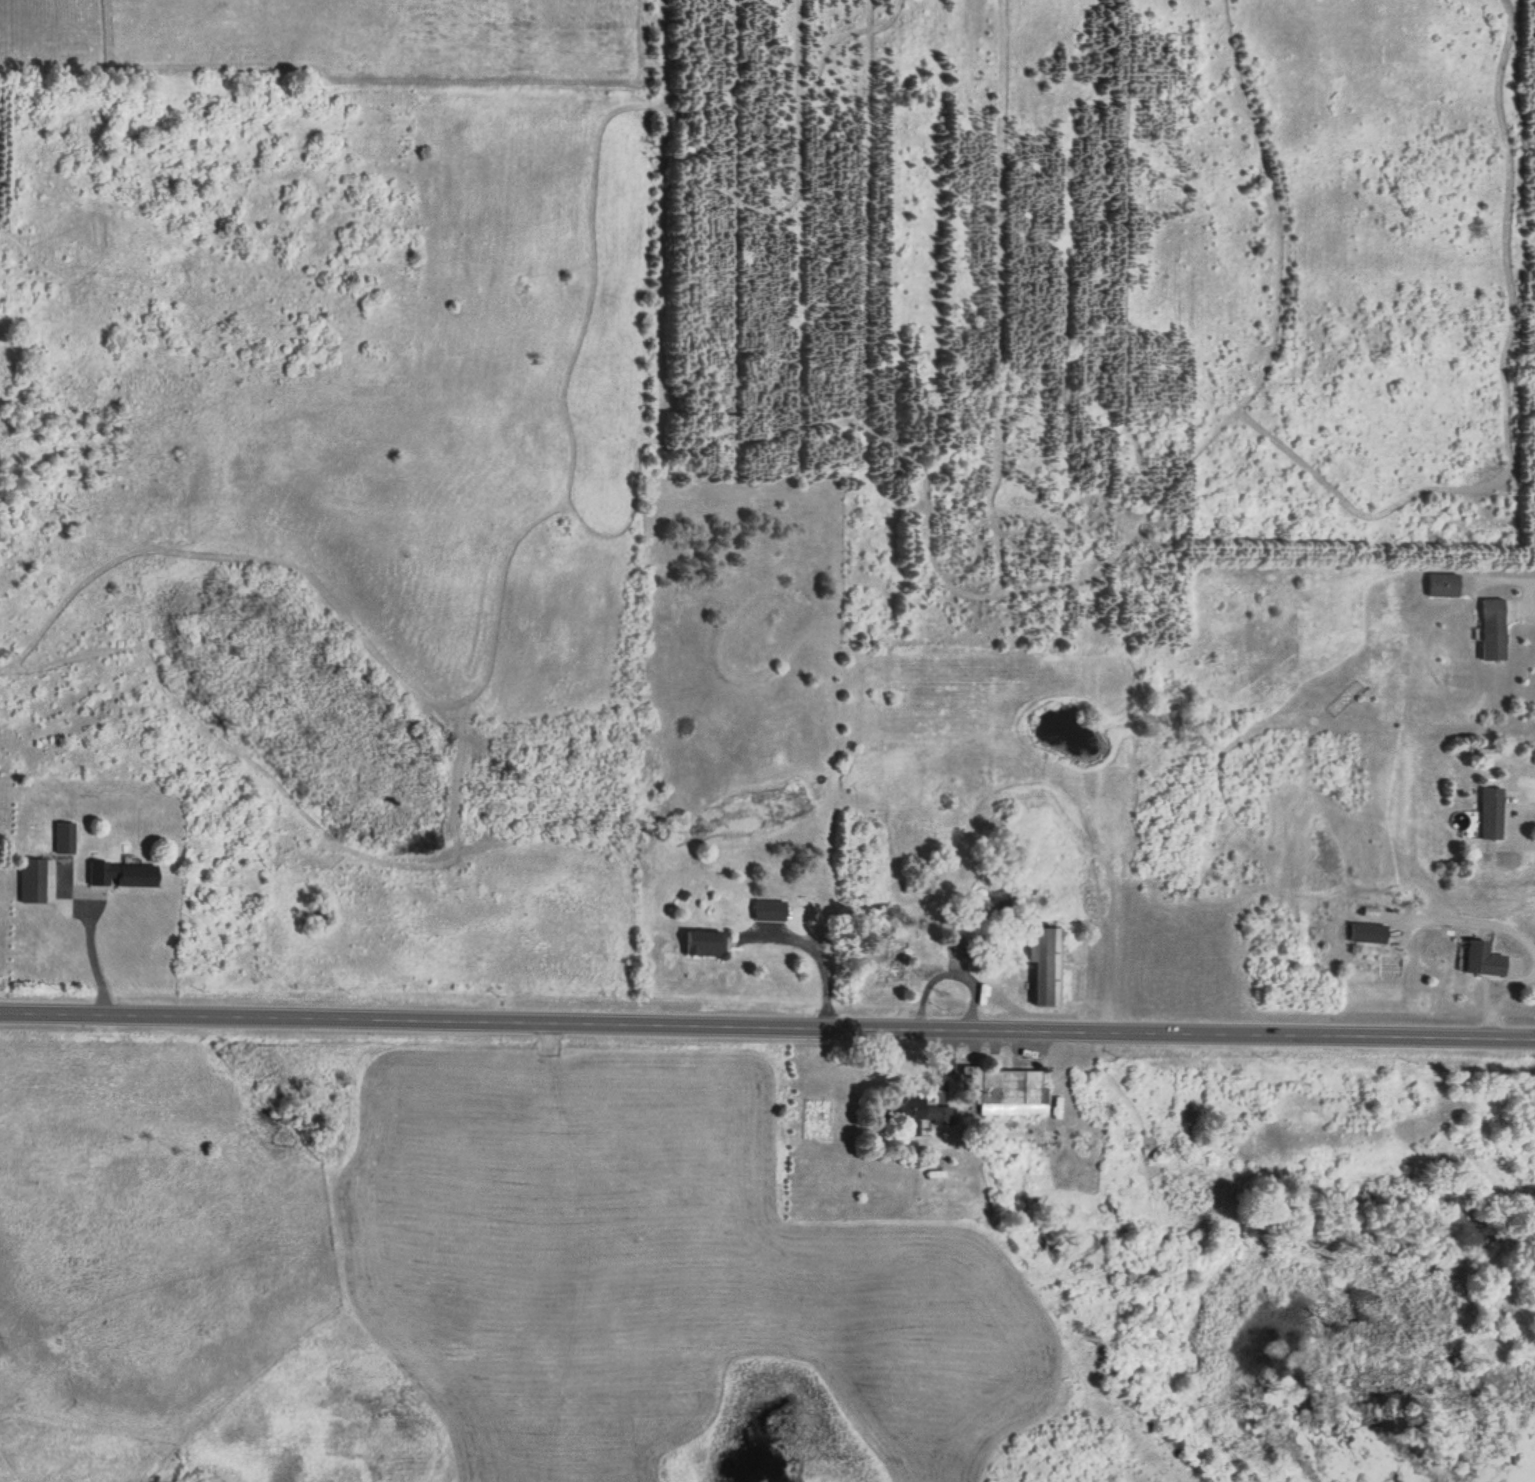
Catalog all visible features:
building: (1442, 585)
building: (1491, 629)
building: (1489, 813)
building: (62, 837)
building: (121, 874)
building: (31, 880)
building: (917, 882)
building: (995, 891)
building: (769, 909)
building: (703, 943)
building: (1482, 959)
building: (892, 963)
building: (1043, 966)
road: (767, 1022)
building: (1005, 1090)
building: (921, 1115)

